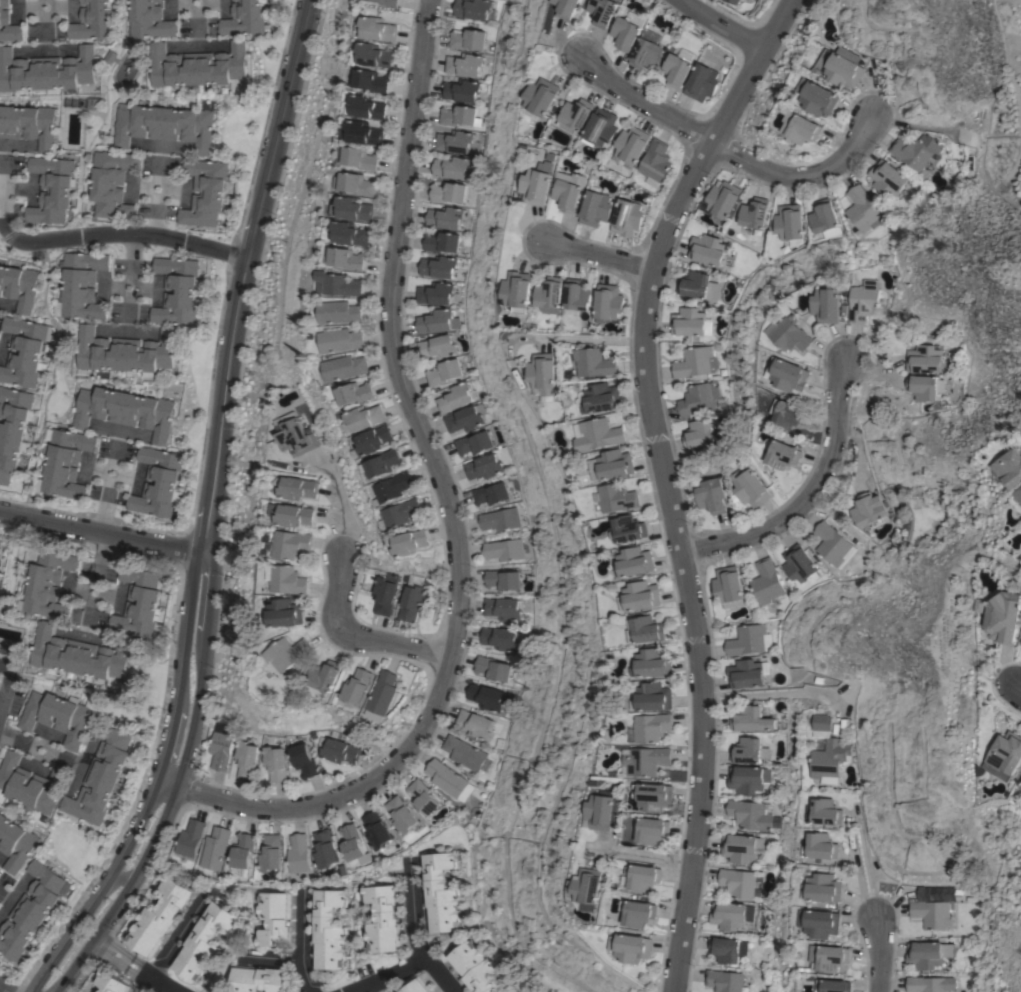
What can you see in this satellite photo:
road: (45, 0)
building: (733, 1)
building: (390, 2)
building: (472, 8)
building: (567, 8)
building: (603, 11)
road: (196, 12)
building: (245, 18)
building: (149, 19)
building: (93, 20)
building: (9, 24)
road: (720, 24)
road: (776, 24)
road: (198, 29)
building: (379, 29)
road: (46, 33)
building: (626, 33)
building: (467, 39)
building: (646, 53)
building: (684, 54)
building: (373, 55)
building: (464, 64)
building: (197, 66)
building: (841, 66)
building: (676, 70)
building: (48, 72)
building: (371, 81)
building: (702, 82)
building: (461, 90)
building: (541, 96)
building: (818, 96)
building: (94, 103)
road: (642, 105)
building: (369, 106)
building: (575, 114)
building: (457, 115)
building: (29, 124)
building: (164, 125)
building: (601, 127)
building: (801, 127)
building: (363, 132)
building: (454, 141)
building: (630, 146)
building: (915, 150)
building: (362, 158)
building: (655, 160)
building: (451, 167)
road: (800, 178)
building: (886, 178)
building: (112, 183)
building: (358, 183)
building: (537, 184)
building: (52, 189)
building: (204, 192)
building: (448, 192)
building: (567, 195)
building: (723, 199)
building: (354, 208)
building: (595, 208)
building: (862, 210)
road: (154, 215)
building: (754, 215)
building: (444, 217)
building: (627, 217)
building: (824, 218)
building: (789, 222)
building: (351, 233)
road: (88, 235)
building: (443, 242)
building: (707, 249)
road: (598, 255)
building: (348, 258)
building: (438, 267)
road: (131, 281)
building: (20, 284)
building: (83, 284)
building: (694, 284)
building: (343, 285)
building: (518, 290)
building: (178, 291)
building: (435, 293)
building: (550, 294)
building: (576, 296)
building: (864, 301)
building: (608, 302)
building: (828, 305)
building: (340, 312)
building: (437, 321)
building: (688, 321)
building: (791, 334)
road: (576, 338)
building: (341, 340)
building: (438, 347)
building: (24, 351)
building: (126, 353)
building: (926, 360)
building: (593, 362)
building: (693, 362)
building: (345, 367)
building: (444, 372)
building: (544, 373)
building: (787, 374)
building: (925, 387)
building: (354, 393)
building: (454, 397)
building: (601, 398)
building: (699, 398)
building: (126, 410)
building: (791, 415)
building: (364, 418)
building: (466, 418)
building: (12, 429)
building: (598, 434)
building: (700, 434)
building: (295, 435)
building: (375, 439)
building: (474, 443)
building: (784, 455)
building: (384, 463)
building: (65, 464)
building: (612, 465)
building: (484, 467)
building: (1009, 469)
building: (159, 482)
building: (750, 486)
building: (299, 488)
building: (394, 488)
building: (491, 494)
building: (713, 495)
building: (617, 497)
building: (1018, 500)
road: (451, 504)
road: (810, 504)
road: (668, 508)
road: (208, 509)
building: (869, 509)
building: (401, 513)
building: (293, 515)
building: (499, 519)
road: (340, 521)
building: (629, 528)
road: (100, 536)
road: (104, 537)
building: (408, 542)
building: (288, 544)
building: (833, 545)
building: (504, 550)
building: (635, 561)
building: (800, 564)
building: (287, 579)
building: (503, 580)
building: (766, 582)
building: (46, 584)
building: (728, 584)
building: (385, 593)
building: (643, 595)
building: (412, 597)
building: (140, 602)
building: (502, 608)
building: (286, 612)
building: (1005, 617)
building: (647, 630)
building: (500, 638)
road: (357, 639)
building: (747, 640)
building: (288, 653)
building: (81, 654)
building: (653, 663)
building: (492, 668)
building: (745, 673)
building: (326, 676)
building: (358, 686)
road: (789, 693)
road: (1017, 693)
building: (382, 696)
building: (655, 696)
building: (486, 697)
building: (59, 716)
building: (752, 719)
building: (823, 722)
building: (477, 724)
building: (653, 726)
road: (26, 740)
building: (221, 749)
building: (339, 750)
building: (749, 751)
building: (464, 752)
building: (1006, 755)
building: (246, 759)
building: (303, 760)
building: (646, 760)
building: (830, 760)
building: (275, 763)
building: (101, 775)
building: (748, 779)
building: (448, 780)
building: (30, 783)
building: (654, 796)
building: (422, 797)
building: (605, 811)
building: (825, 812)
building: (753, 814)
building: (400, 815)
building: (376, 830)
building: (652, 830)
building: (190, 837)
building: (16, 842)
building: (352, 844)
building: (821, 846)
building: (215, 847)
building: (739, 847)
building: (243, 850)
building: (324, 851)
building: (270, 853)
building: (298, 854)
road: (649, 856)
building: (643, 877)
building: (738, 882)
building: (590, 888)
building: (824, 888)
building: (441, 892)
building: (934, 906)
building: (31, 910)
building: (639, 912)
building: (732, 915)
building: (159, 916)
building: (274, 918)
building: (383, 919)
building: (820, 923)
building: (328, 929)
road: (414, 933)
building: (203, 941)
road: (169, 943)
road: (300, 944)
building: (632, 947)
building: (728, 949)
building: (927, 954)
road: (273, 958)
building: (832, 958)
road: (878, 958)
road: (131, 964)
building: (473, 967)
road: (387, 975)
building: (257, 979)
building: (726, 981)
building: (111, 982)
building: (930, 984)
building: (834, 985)
building: (417, 986)
road: (5, 988)
building: (509, 990)

